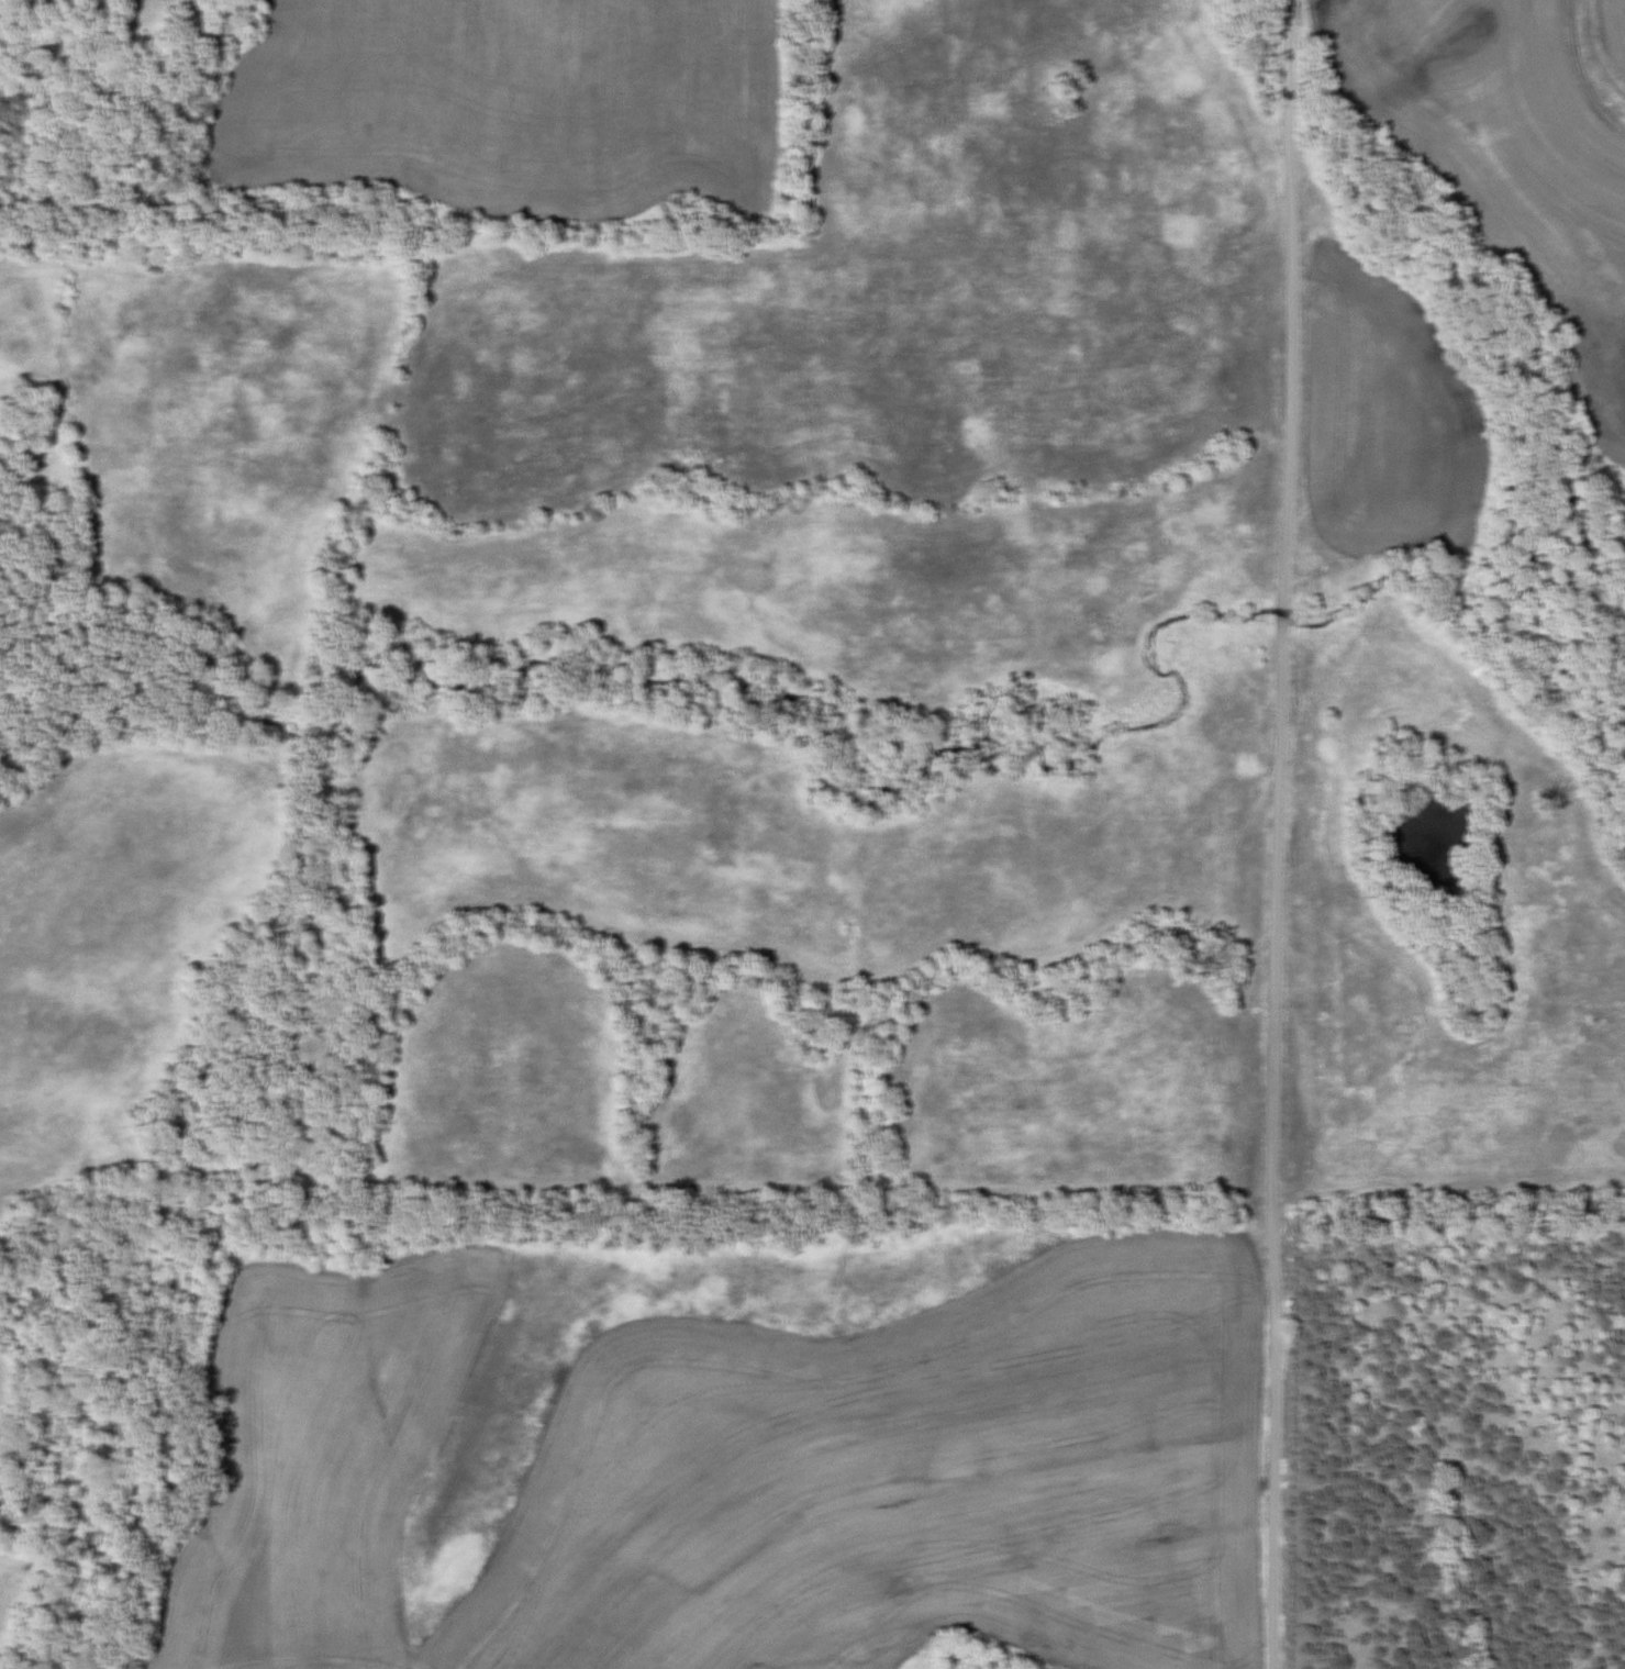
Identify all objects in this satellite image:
road: (1277, 834)

